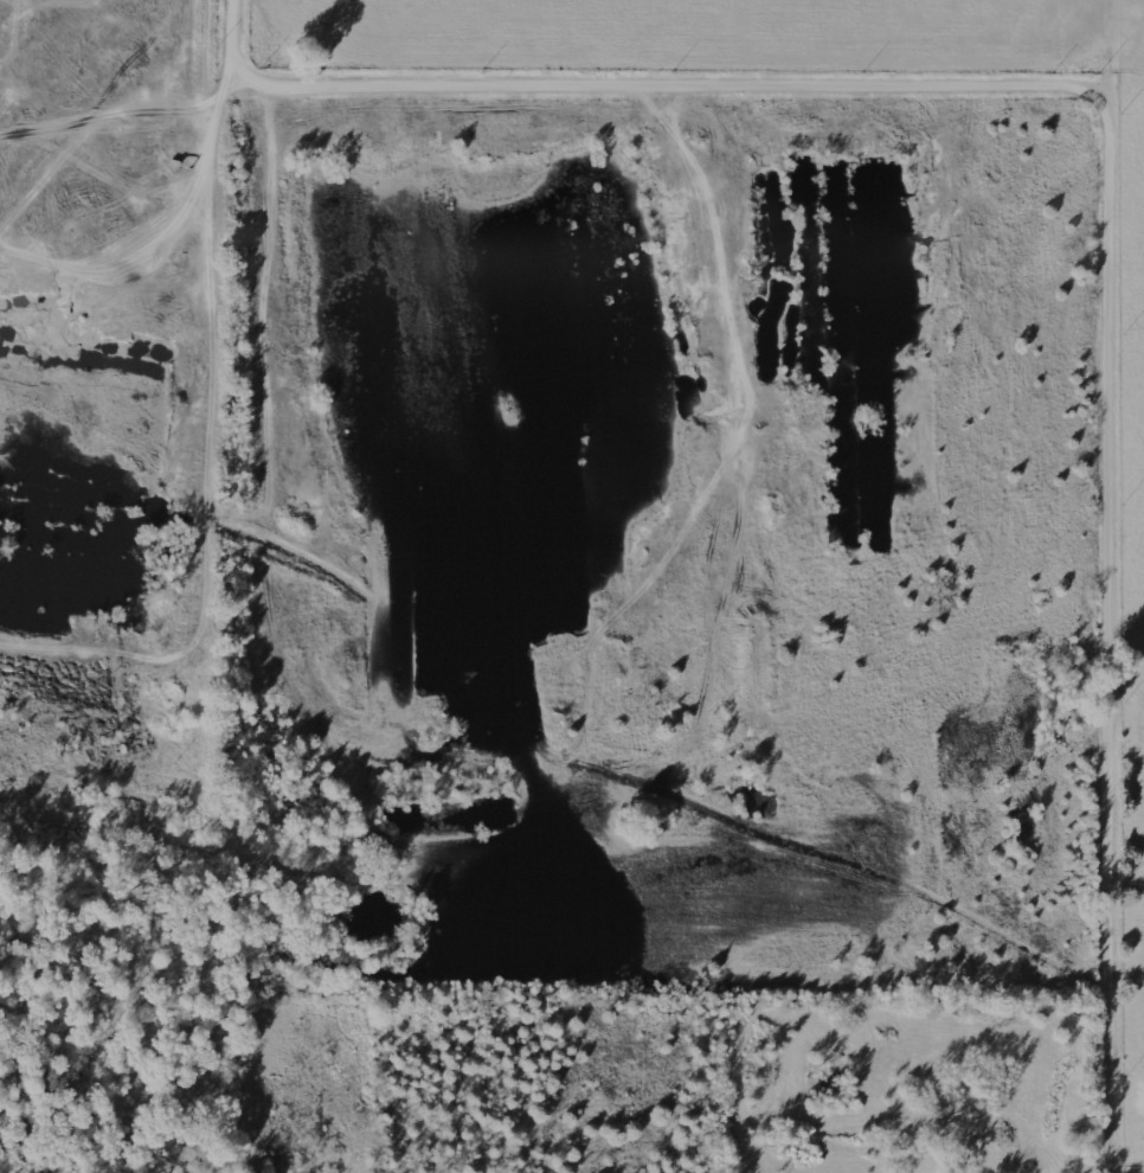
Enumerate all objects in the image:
road: (1117, 171)
road: (1131, 595)

